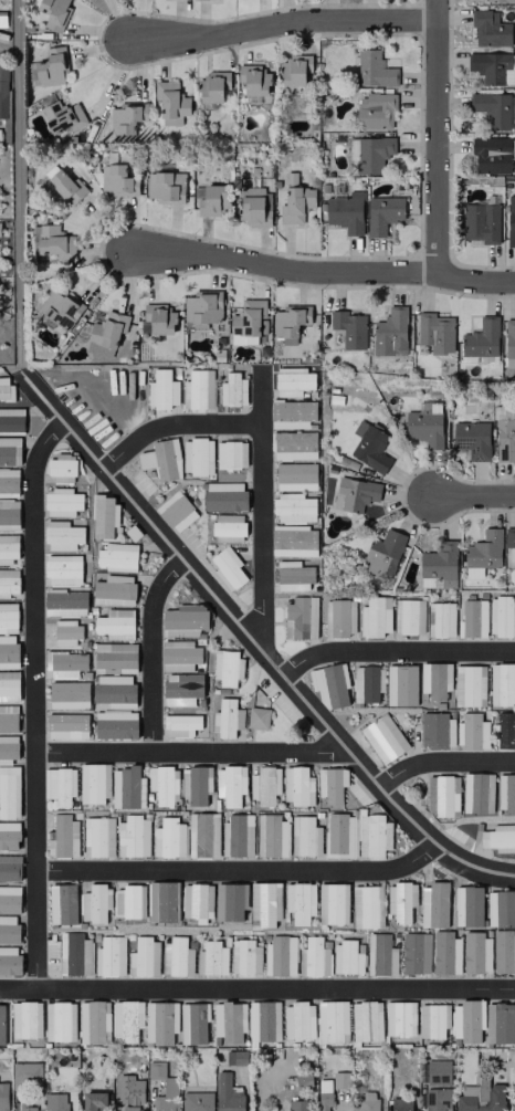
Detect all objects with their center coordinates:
building: (497, 0)
building: (54, 13)
road: (282, 23)
building: (490, 29)
building: (51, 66)
building: (492, 67)
building: (294, 69)
building: (374, 70)
building: (253, 78)
building: (212, 86)
building: (3, 90)
building: (170, 102)
building: (494, 108)
building: (375, 109)
building: (62, 116)
building: (126, 116)
road: (438, 137)
building: (372, 153)
building: (491, 155)
building: (45, 175)
road: (17, 179)
building: (117, 180)
building: (165, 187)
building: (64, 188)
building: (212, 200)
building: (295, 201)
building: (254, 207)
building: (346, 212)
building: (382, 213)
building: (511, 221)
building: (480, 222)
building: (54, 242)
road: (323, 271)
building: (202, 306)
building: (60, 308)
building: (159, 317)
building: (246, 322)
building: (290, 322)
building: (108, 328)
building: (349, 328)
building: (390, 332)
building: (435, 332)
building: (509, 338)
building: (481, 343)
building: (99, 349)
building: (293, 380)
building: (4, 388)
building: (198, 388)
building: (161, 389)
building: (232, 389)
building: (292, 413)
building: (11, 419)
road: (176, 423)
building: (424, 423)
building: (472, 439)
building: (505, 439)
building: (367, 443)
building: (294, 444)
building: (9, 451)
building: (231, 454)
building: (197, 455)
building: (162, 460)
building: (62, 468)
building: (295, 475)
building: (8, 482)
building: (355, 493)
building: (224, 496)
road: (473, 496)
building: (62, 502)
road: (262, 506)
building: (293, 507)
building: (176, 511)
building: (9, 514)
building: (103, 515)
building: (228, 527)
building: (62, 535)
building: (508, 536)
building: (294, 541)
building: (8, 547)
building: (383, 553)
building: (482, 553)
building: (116, 556)
building: (440, 564)
building: (228, 567)
building: (63, 569)
building: (293, 575)
building: (8, 581)
building: (430, 581)
building: (114, 589)
building: (65, 602)
building: (375, 616)
building: (408, 616)
building: (501, 616)
building: (8, 617)
building: (301, 617)
building: (338, 617)
building: (185, 619)
building: (440, 619)
building: (472, 619)
building: (115, 623)
building: (67, 632)
road: (255, 643)
building: (8, 651)
road: (151, 651)
road: (396, 652)
building: (179, 656)
building: (114, 657)
building: (66, 663)
building: (227, 667)
building: (435, 679)
building: (367, 683)
building: (401, 684)
building: (502, 684)
building: (9, 685)
building: (329, 685)
building: (469, 685)
building: (182, 688)
building: (114, 691)
building: (69, 694)
road: (35, 701)
building: (8, 717)
building: (227, 717)
building: (257, 717)
building: (115, 724)
building: (66, 725)
building: (180, 725)
building: (437, 730)
building: (505, 730)
building: (382, 737)
building: (8, 748)
road: (190, 754)
road: (442, 761)
building: (94, 783)
building: (164, 784)
building: (196, 784)
building: (230, 784)
building: (330, 784)
building: (60, 785)
building: (264, 785)
building: (296, 785)
building: (127, 787)
building: (9, 792)
building: (476, 793)
building: (506, 793)
building: (442, 795)
building: (9, 835)
building: (203, 835)
building: (238, 835)
building: (357, 835)
building: (98, 836)
building: (271, 836)
building: (305, 836)
building: (62, 837)
building: (133, 837)
building: (498, 837)
building: (169, 838)
building: (9, 867)
road: (240, 871)
building: (9, 899)
building: (129, 901)
building: (164, 901)
building: (197, 901)
building: (230, 901)
building: (299, 901)
building: (400, 901)
building: (95, 902)
building: (264, 902)
building: (62, 903)
building: (333, 903)
building: (433, 904)
building: (467, 905)
building: (367, 906)
building: (501, 908)
building: (8, 929)
building: (445, 952)
building: (504, 952)
building: (74, 953)
building: (416, 953)
building: (476, 953)
building: (280, 954)
building: (380, 954)
building: (109, 956)
building: (245, 956)
building: (314, 956)
building: (144, 957)
building: (176, 957)
building: (346, 957)
building: (211, 958)
building: (9, 960)
road: (256, 988)
building: (399, 1018)
building: (25, 1019)
building: (59, 1020)
building: (126, 1020)
building: (263, 1020)
building: (298, 1020)
building: (366, 1020)
building: (432, 1020)
building: (466, 1020)
building: (94, 1021)
building: (229, 1021)
building: (332, 1021)
building: (159, 1023)
building: (193, 1023)
building: (500, 1023)
building: (1, 1025)
building: (235, 1057)
building: (25, 1076)
building: (434, 1086)
building: (169, 1088)
building: (129, 1089)
building: (227, 1093)
building: (324, 1094)
building: (2, 1096)
building: (55, 1101)
building: (93, 1101)
building: (197, 1101)
building: (366, 1101)
building: (165, 1103)
building: (399, 1103)
building: (296, 1105)
building: (27, 1107)
building: (129, 1108)

